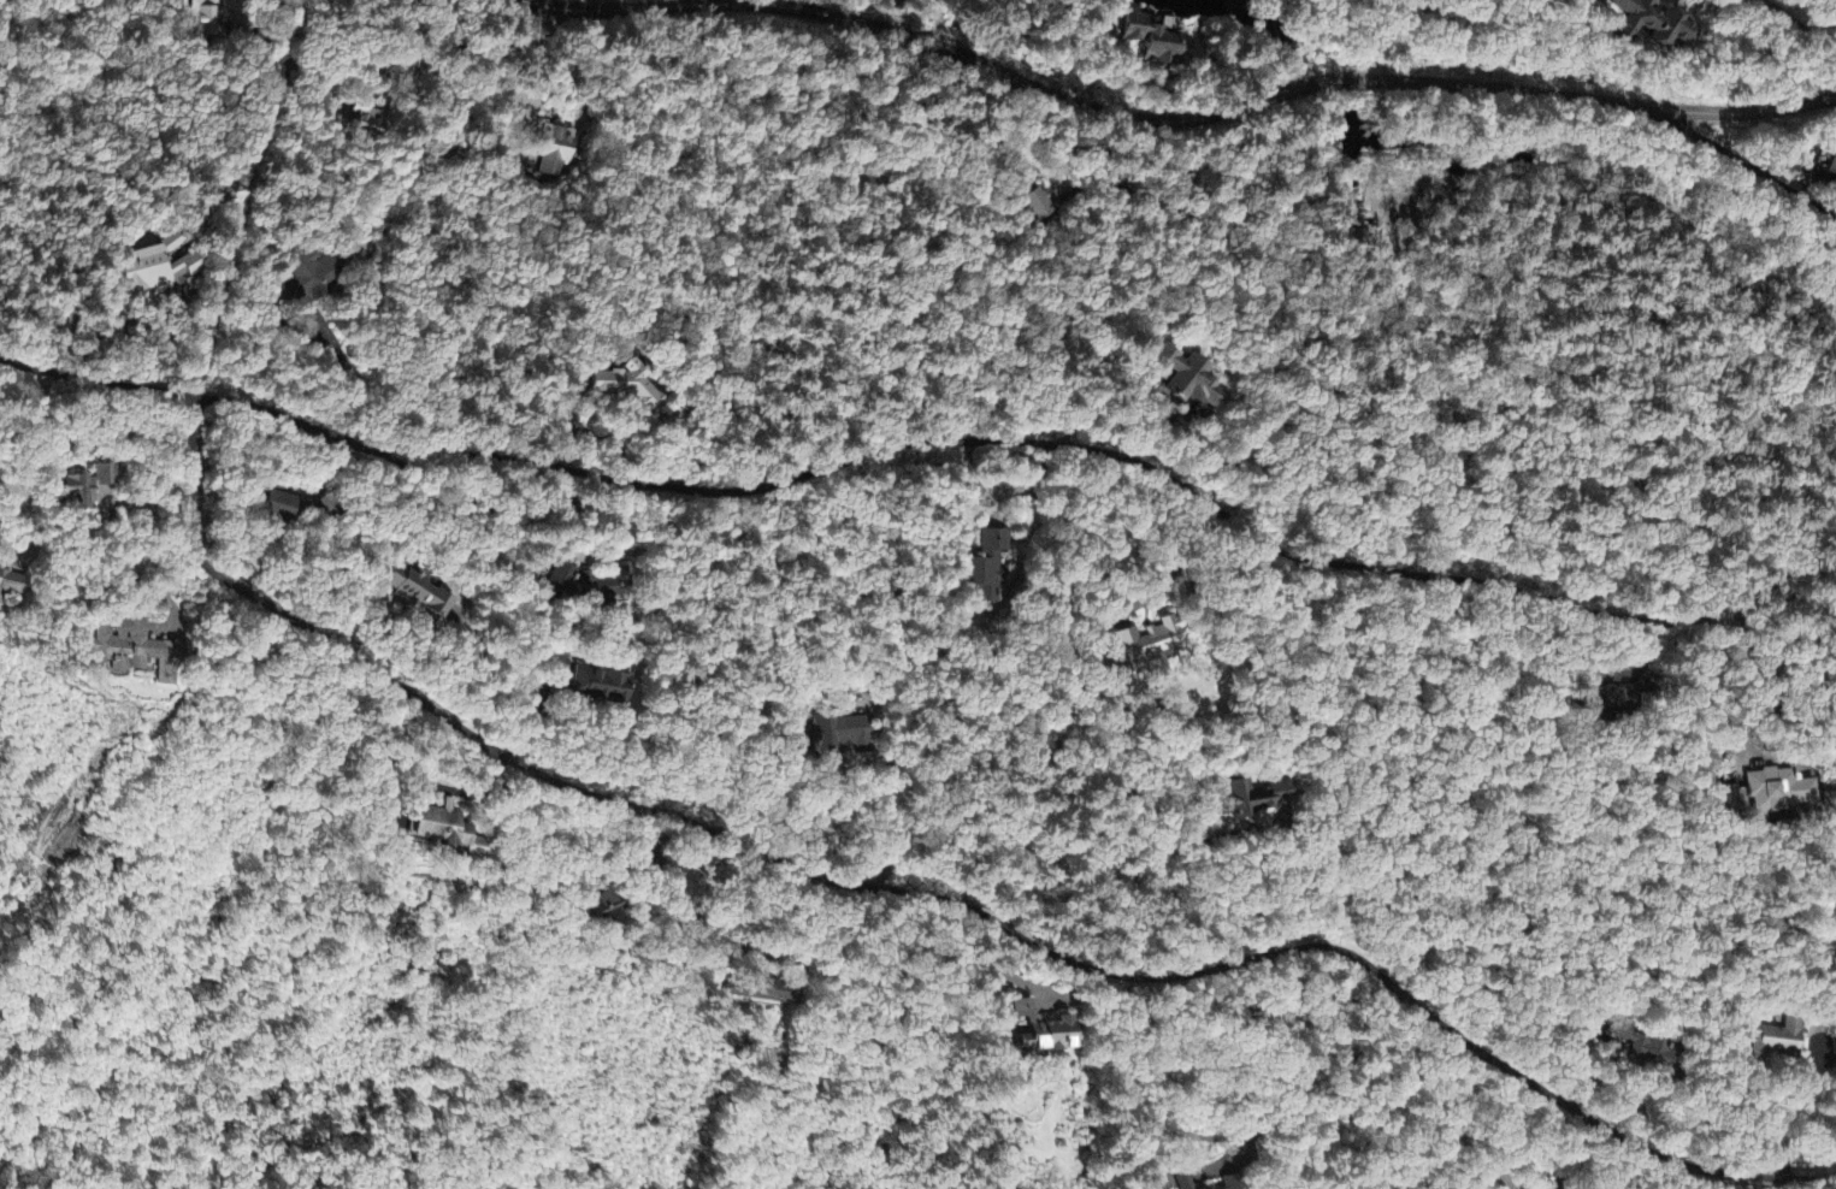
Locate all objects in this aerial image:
building: (207, 19)
road: (1800, 24)
building: (1642, 25)
road: (1088, 100)
road: (1753, 112)
building: (548, 154)
building: (1825, 159)
road: (1753, 166)
building: (161, 268)
building: (313, 282)
road: (94, 379)
building: (1189, 384)
building: (627, 386)
road: (1038, 444)
park: (1495, 452)
building: (93, 487)
building: (283, 508)
building: (986, 570)
building: (14, 586)
building: (1149, 646)
building: (597, 687)
building: (1610, 702)
building: (837, 735)
building: (1254, 800)
road: (935, 903)
building: (601, 912)
building: (766, 993)
building: (1040, 1033)
building: (1775, 1043)
building: (1643, 1049)
building: (1179, 1182)
building: (1226, 1184)

